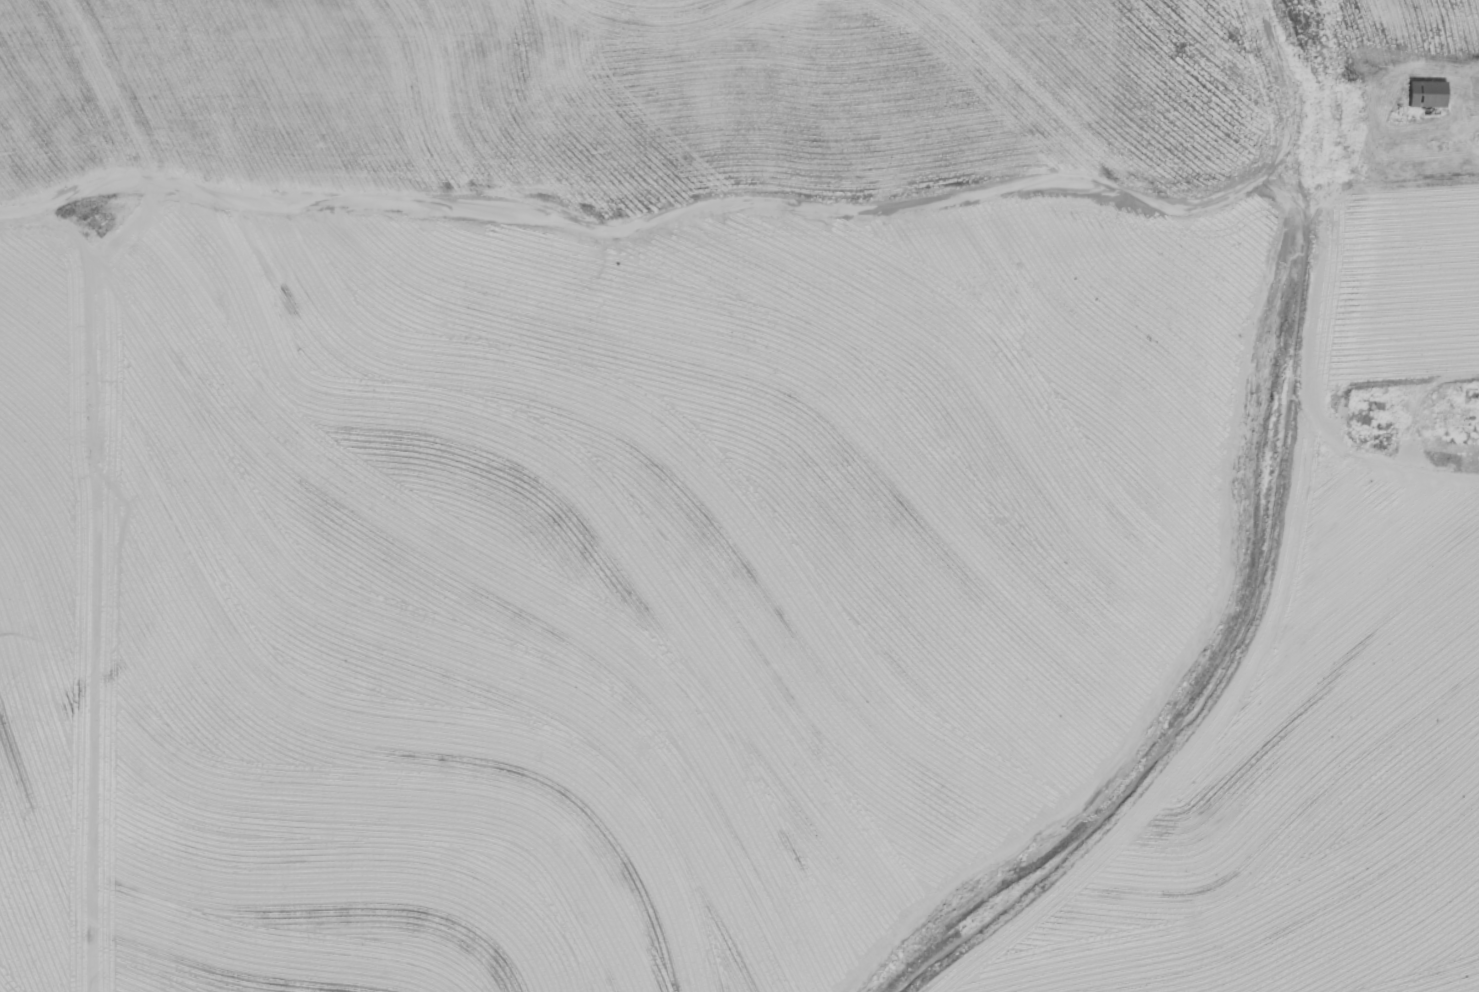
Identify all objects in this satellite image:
building: (1430, 95)

